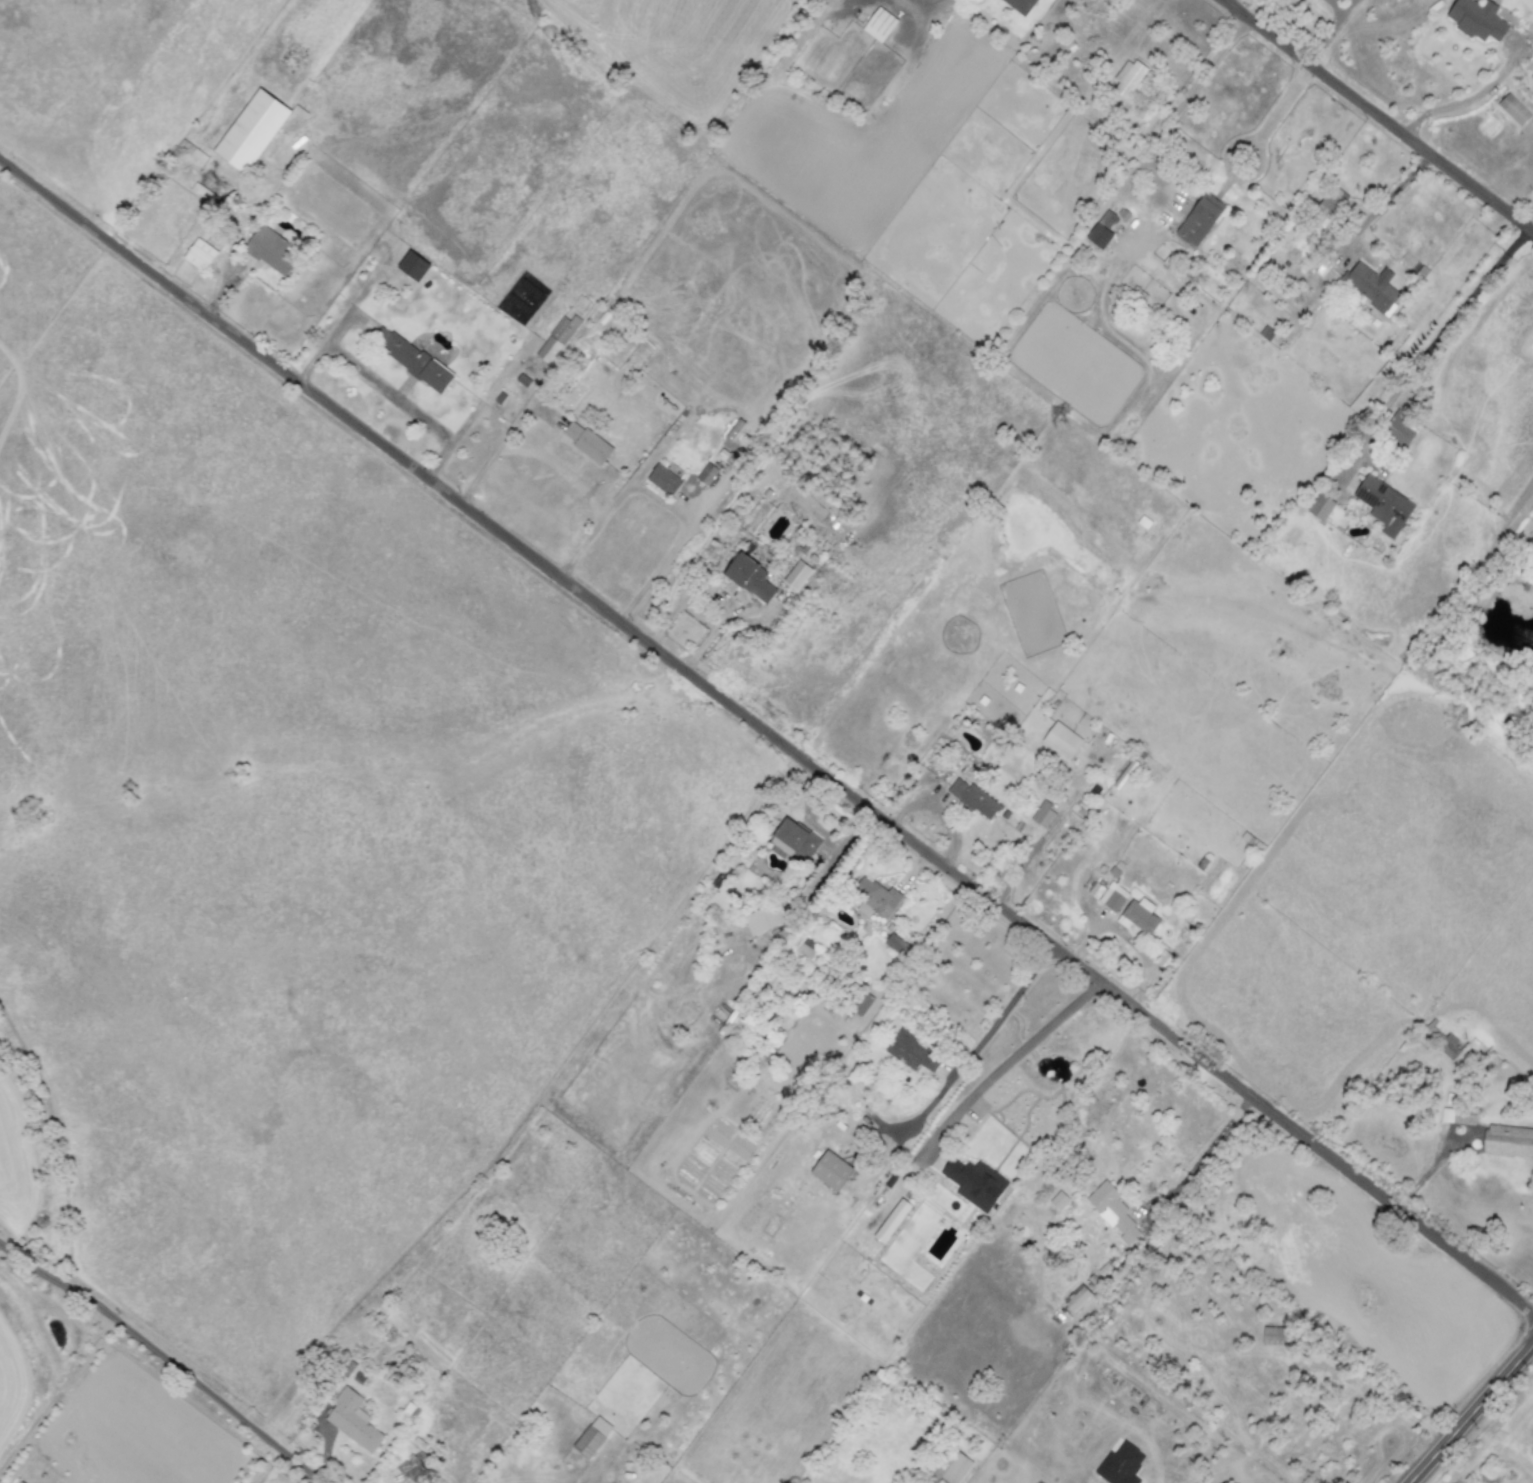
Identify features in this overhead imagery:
building: (1019, 5)
road: (1336, 6)
building: (1477, 20)
building: (879, 25)
road: (1331, 31)
building: (1128, 78)
building: (1532, 78)
road: (1469, 98)
road: (1183, 101)
building: (1513, 110)
road: (1276, 111)
road: (1378, 116)
building: (251, 131)
building: (213, 188)
road: (1383, 202)
building: (1328, 205)
building: (1199, 220)
building: (1101, 231)
building: (271, 251)
building: (199, 255)
building: (413, 266)
building: (1372, 287)
building: (556, 339)
road: (1431, 345)
building: (411, 359)
road: (386, 392)
building: (1398, 429)
building: (586, 442)
road: (498, 444)
building: (706, 474)
building: (663, 480)
road: (613, 502)
building: (1384, 505)
building: (1321, 507)
road: (673, 546)
building: (797, 575)
building: (749, 578)
road: (714, 596)
road: (766, 734)
building: (1061, 741)
building: (974, 799)
building: (1043, 815)
building: (794, 841)
building: (1095, 891)
building: (1113, 897)
building: (875, 898)
building: (1138, 916)
building: (764, 919)
building: (897, 945)
building: (806, 949)
building: (860, 1003)
road: (999, 1011)
building: (1449, 1047)
building: (911, 1052)
road: (1009, 1059)
building: (1457, 1116)
building: (1508, 1141)
road: (1202, 1155)
building: (830, 1171)
building: (974, 1183)
building: (1058, 1201)
building: (1112, 1211)
building: (1078, 1299)
building: (1274, 1336)
road: (163, 1361)
road: (1377, 1397)
road: (1473, 1415)
building: (353, 1420)
building: (592, 1437)
building: (1120, 1465)
building: (411, 1467)
building: (952, 1468)
building: (21, 1482)

